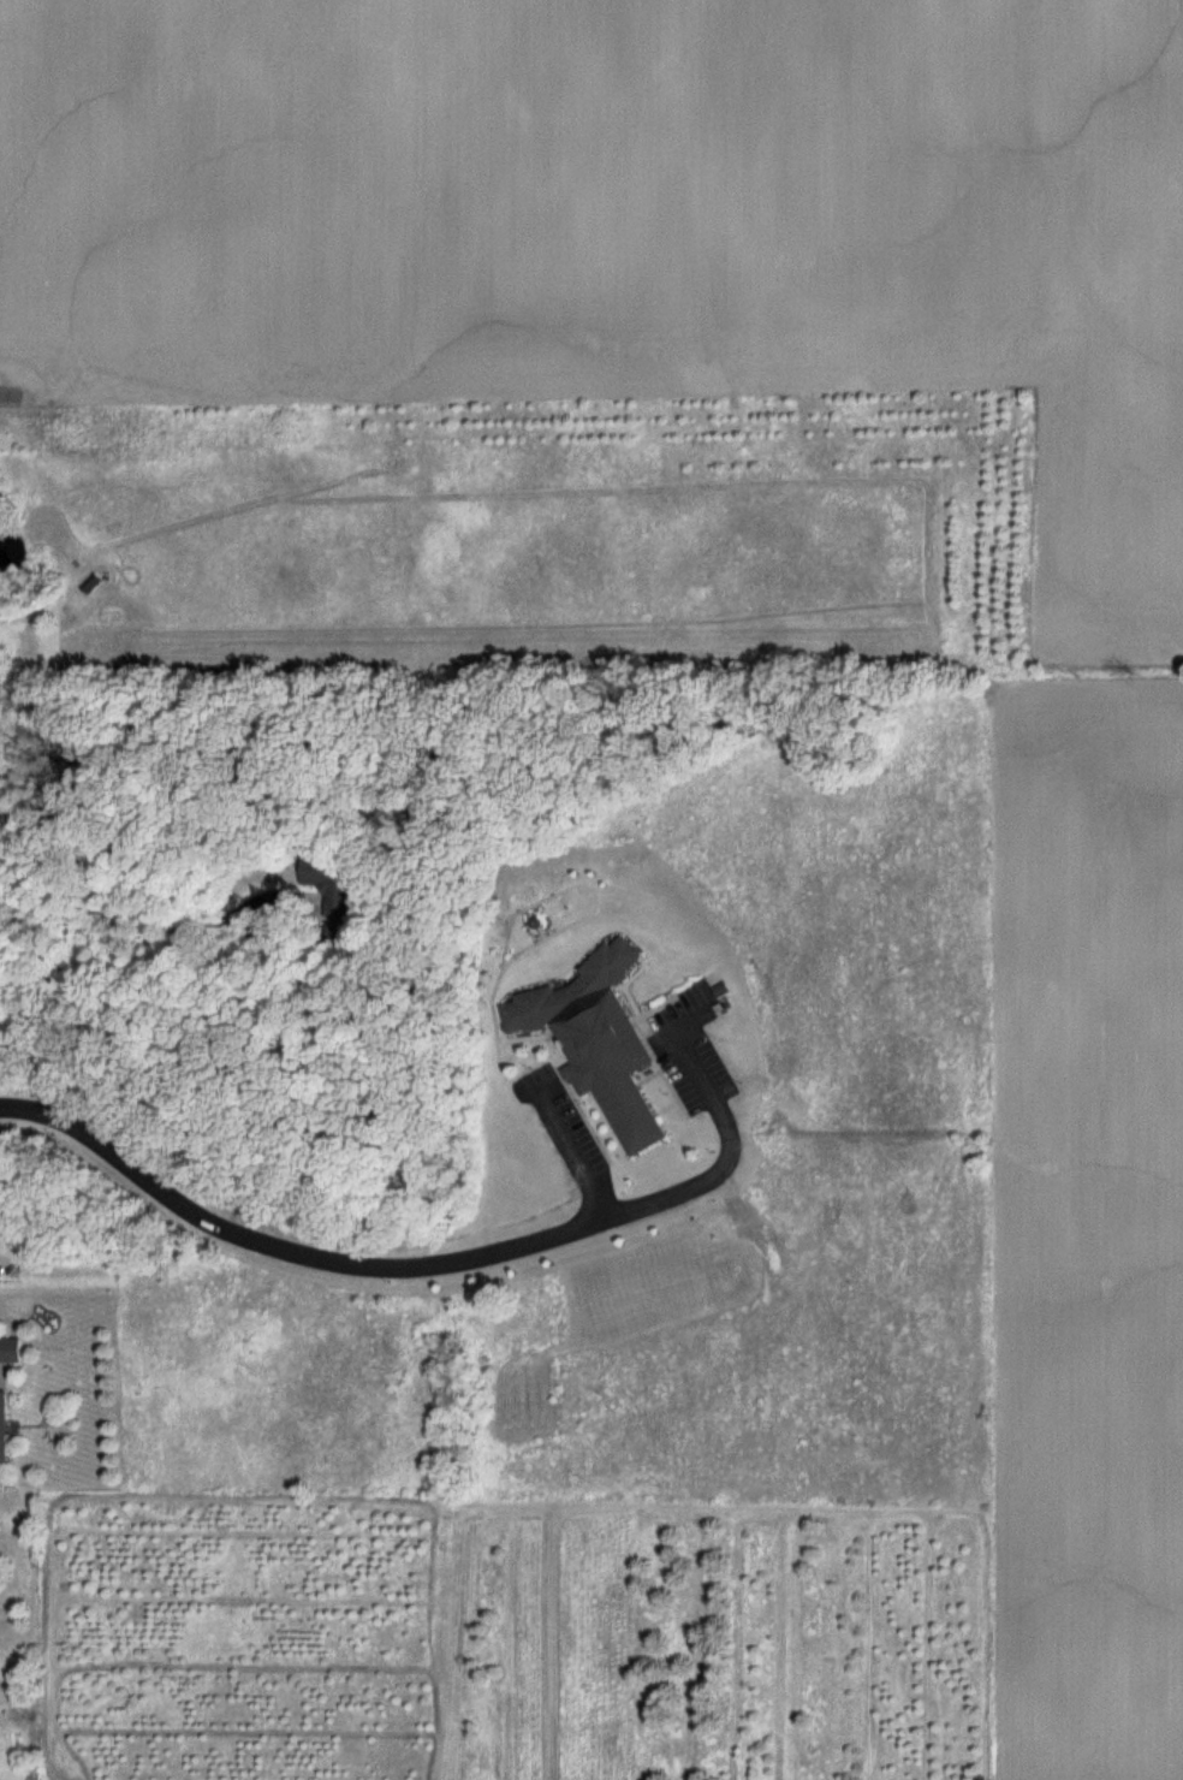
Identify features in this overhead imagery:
building: (320, 876)
building: (598, 1040)
road: (577, 1155)
road: (423, 1263)
building: (10, 1351)
building: (2, 1426)

